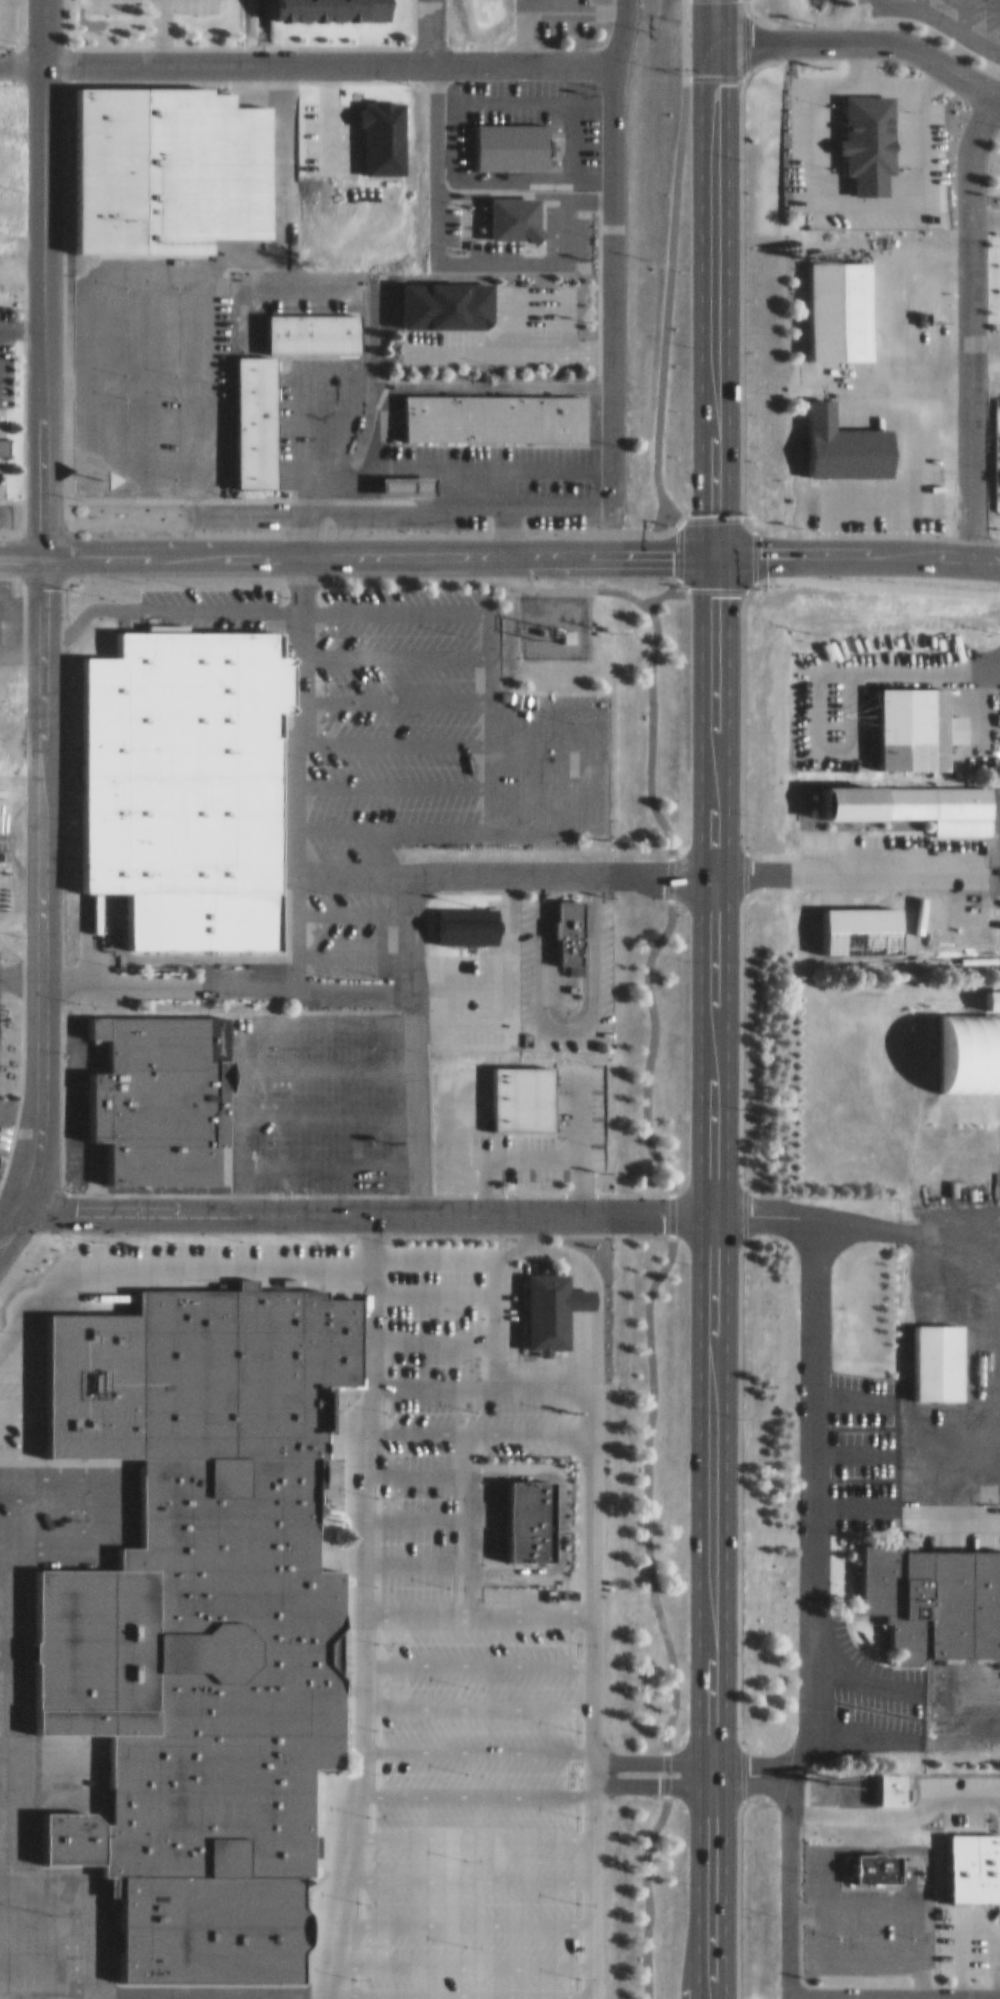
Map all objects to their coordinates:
parking lot: (978, 12)
road: (962, 13)
road: (960, 24)
road: (429, 27)
road: (697, 28)
road: (863, 33)
road: (327, 55)
road: (20, 57)
building: (859, 133)
building: (502, 137)
building: (166, 162)
road: (985, 211)
road: (613, 251)
road: (713, 272)
road: (41, 273)
building: (831, 303)
road: (663, 305)
building: (433, 309)
road: (970, 316)
road: (985, 332)
building: (486, 410)
building: (246, 414)
building: (834, 436)
building: (6, 439)
road: (522, 474)
road: (4, 506)
road: (856, 546)
road: (20, 547)
road: (377, 547)
road: (360, 602)
power substation: (551, 616)
road: (393, 645)
road: (443, 693)
building: (434, 716)
parking lot: (410, 720)
building: (907, 721)
road: (443, 732)
road: (299, 760)
building: (183, 777)
road: (442, 777)
building: (936, 805)
road: (503, 816)
road: (381, 839)
road: (561, 865)
road: (845, 866)
road: (714, 874)
road: (41, 876)
building: (979, 914)
building: (458, 916)
road: (276, 921)
building: (562, 925)
parking lot: (533, 962)
road: (20, 966)
road: (226, 978)
road: (455, 978)
road: (498, 978)
road: (228, 1003)
road: (563, 1019)
road: (244, 1022)
road: (413, 1033)
building: (961, 1043)
road: (329, 1061)
building: (155, 1087)
building: (514, 1088)
parking lot: (316, 1093)
road: (330, 1107)
parking lot: (552, 1123)
road: (576, 1132)
road: (502, 1146)
road: (331, 1155)
building: (848, 1160)
road: (670, 1200)
road: (365, 1202)
road: (7, 1212)
road: (905, 1221)
road: (165, 1256)
road: (492, 1262)
road: (592, 1274)
building: (544, 1300)
road: (430, 1302)
road: (430, 1345)
building: (929, 1353)
road: (13, 1364)
road: (481, 1391)
road: (26, 1393)
road: (13, 1405)
road: (815, 1420)
road: (481, 1436)
road: (13, 1446)
road: (62, 1467)
road: (414, 1477)
road: (12, 1488)
road: (61, 1488)
road: (98, 1500)
road: (412, 1519)
road: (462, 1523)
road: (54, 1535)
road: (5, 1536)
road: (412, 1565)
road: (5, 1582)
building: (559, 1591)
building: (930, 1591)
road: (713, 1601)
building: (198, 1608)
road: (476, 1611)
road: (5, 1624)
road: (9, 1644)
road: (476, 1653)
parking lot: (372, 1659)
road: (4, 1665)
road: (591, 1690)
road: (476, 1693)
road: (906, 1696)
road: (4, 1708)
road: (361, 1734)
road: (476, 1737)
road: (797, 1746)
road: (4, 1754)
road: (13, 1754)
road: (626, 1754)
road: (752, 1754)
road: (453, 1775)
road: (629, 1776)
road: (752, 1777)
building: (884, 1784)
road: (8, 1800)
road: (473, 1808)
road: (17, 1818)
road: (9, 1840)
road: (472, 1852)
building: (965, 1858)
building: (869, 1860)
road: (9, 1883)
road: (56, 1883)
road: (456, 1891)
road: (47, 1923)
road: (93, 1927)
road: (456, 1934)
road: (153, 1987)
road: (791, 1990)
road: (92, 1993)
road: (140, 1993)
road: (278, 1993)
road: (322, 1993)
road: (907, 1997)

